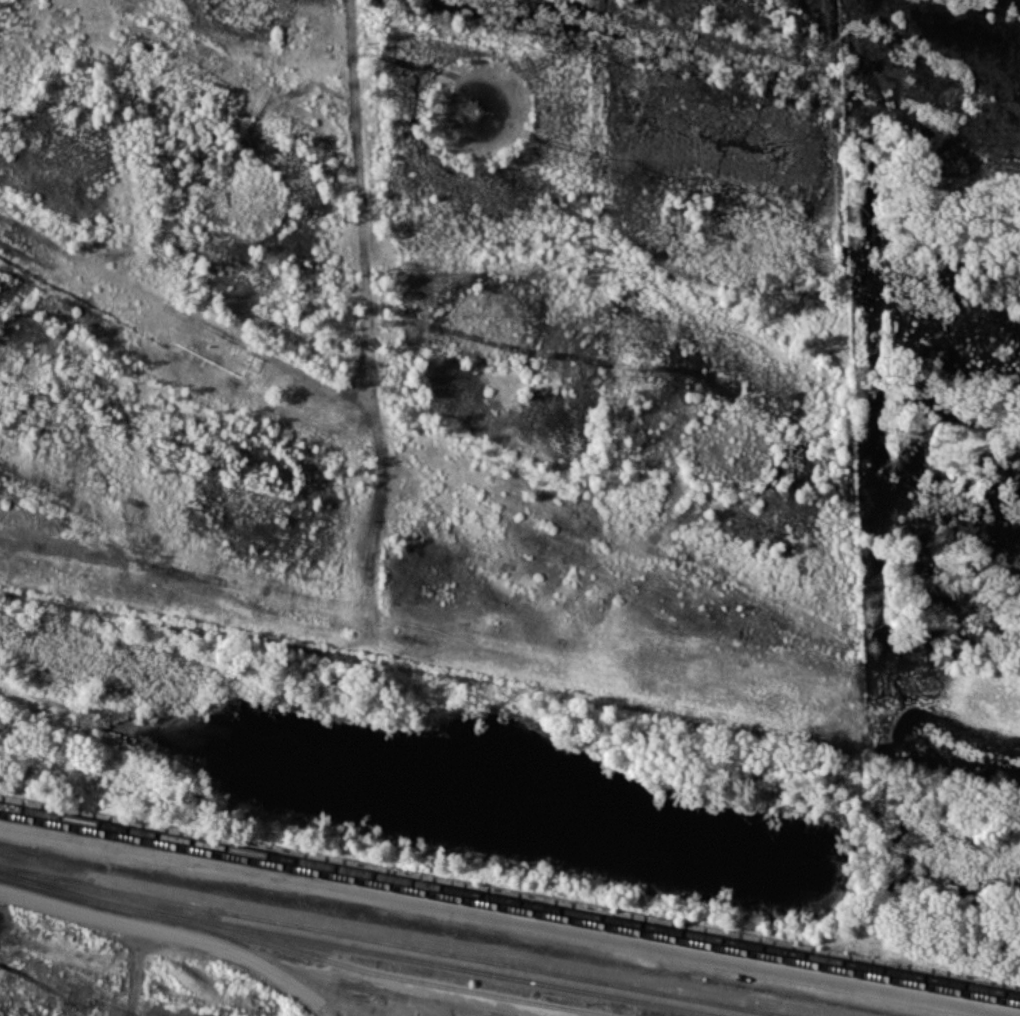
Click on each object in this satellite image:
railway: (509, 899)
railway: (509, 909)
road: (510, 918)
railway: (394, 943)
railway: (360, 948)
railway: (379, 973)

